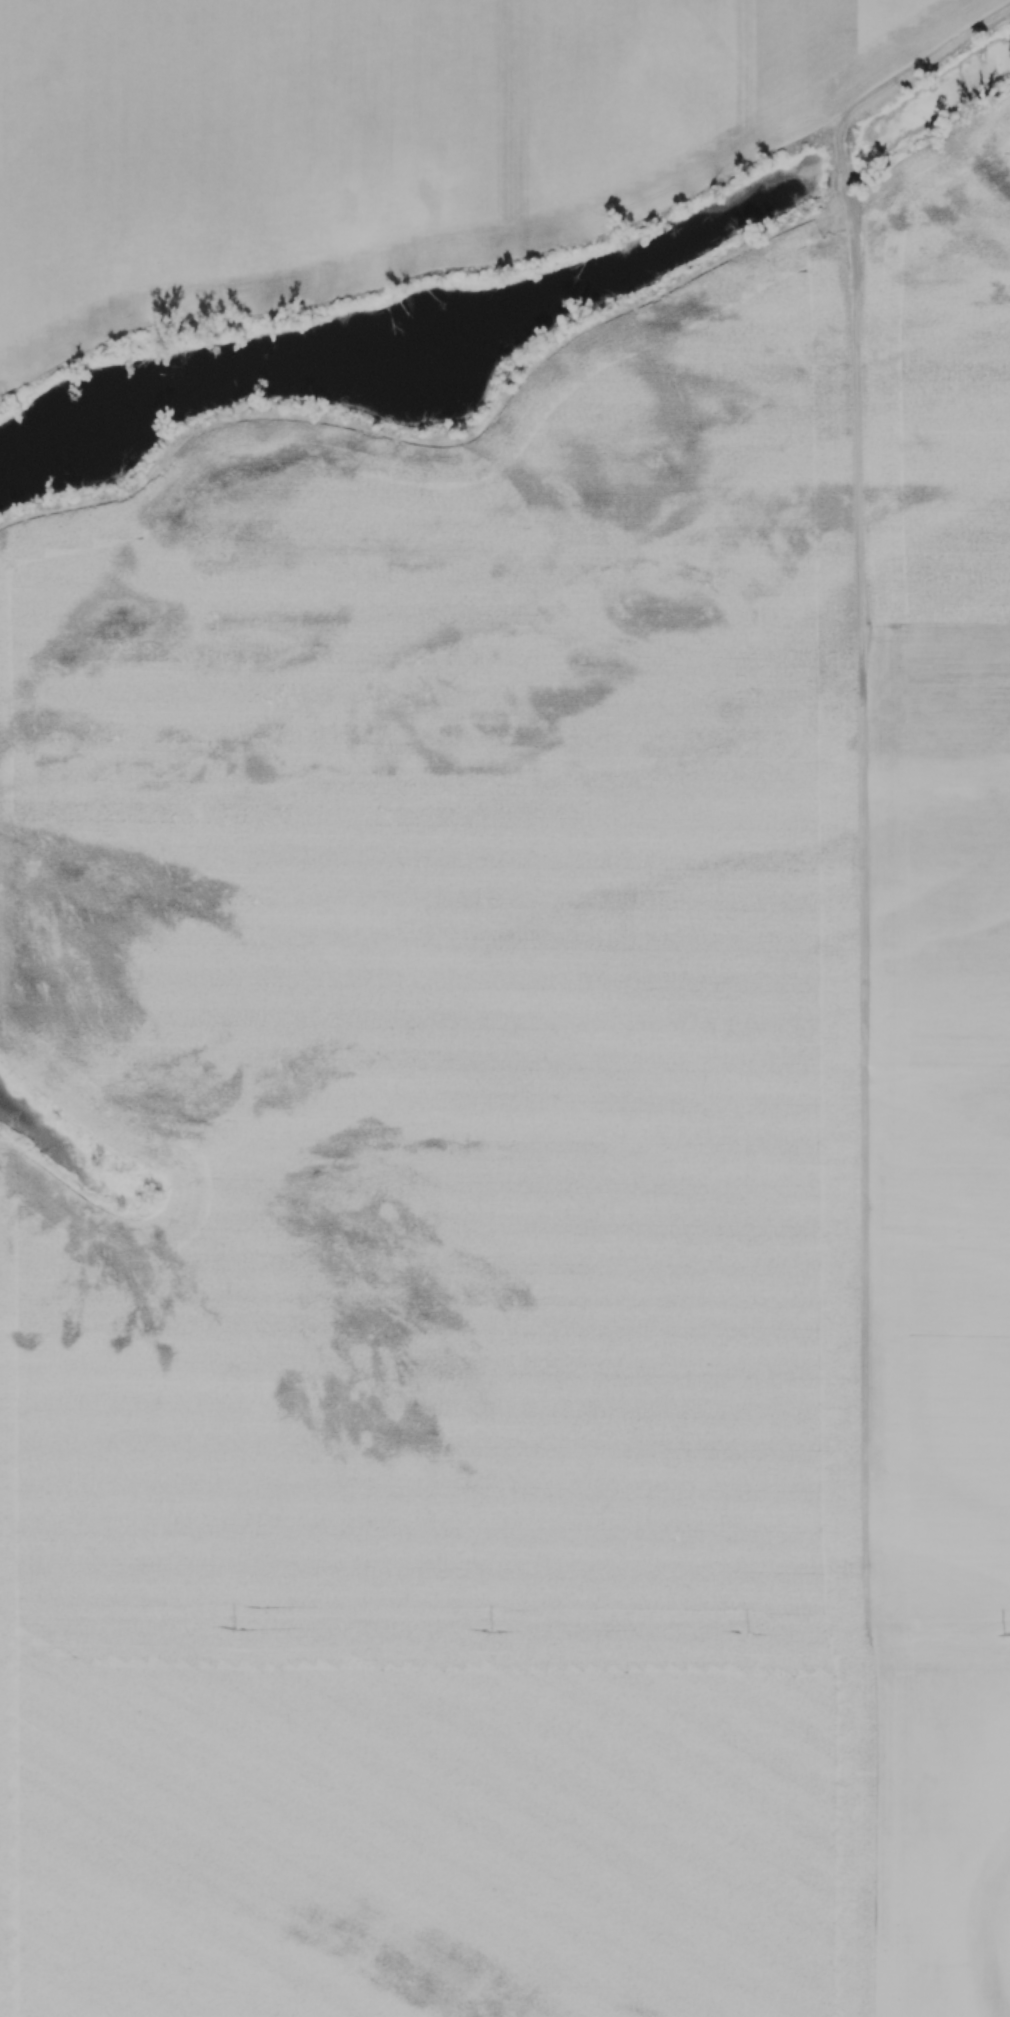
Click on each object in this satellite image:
power tower: (237, 1625)
power tower: (493, 1629)
power tower: (749, 1629)
power tower: (1006, 1632)

